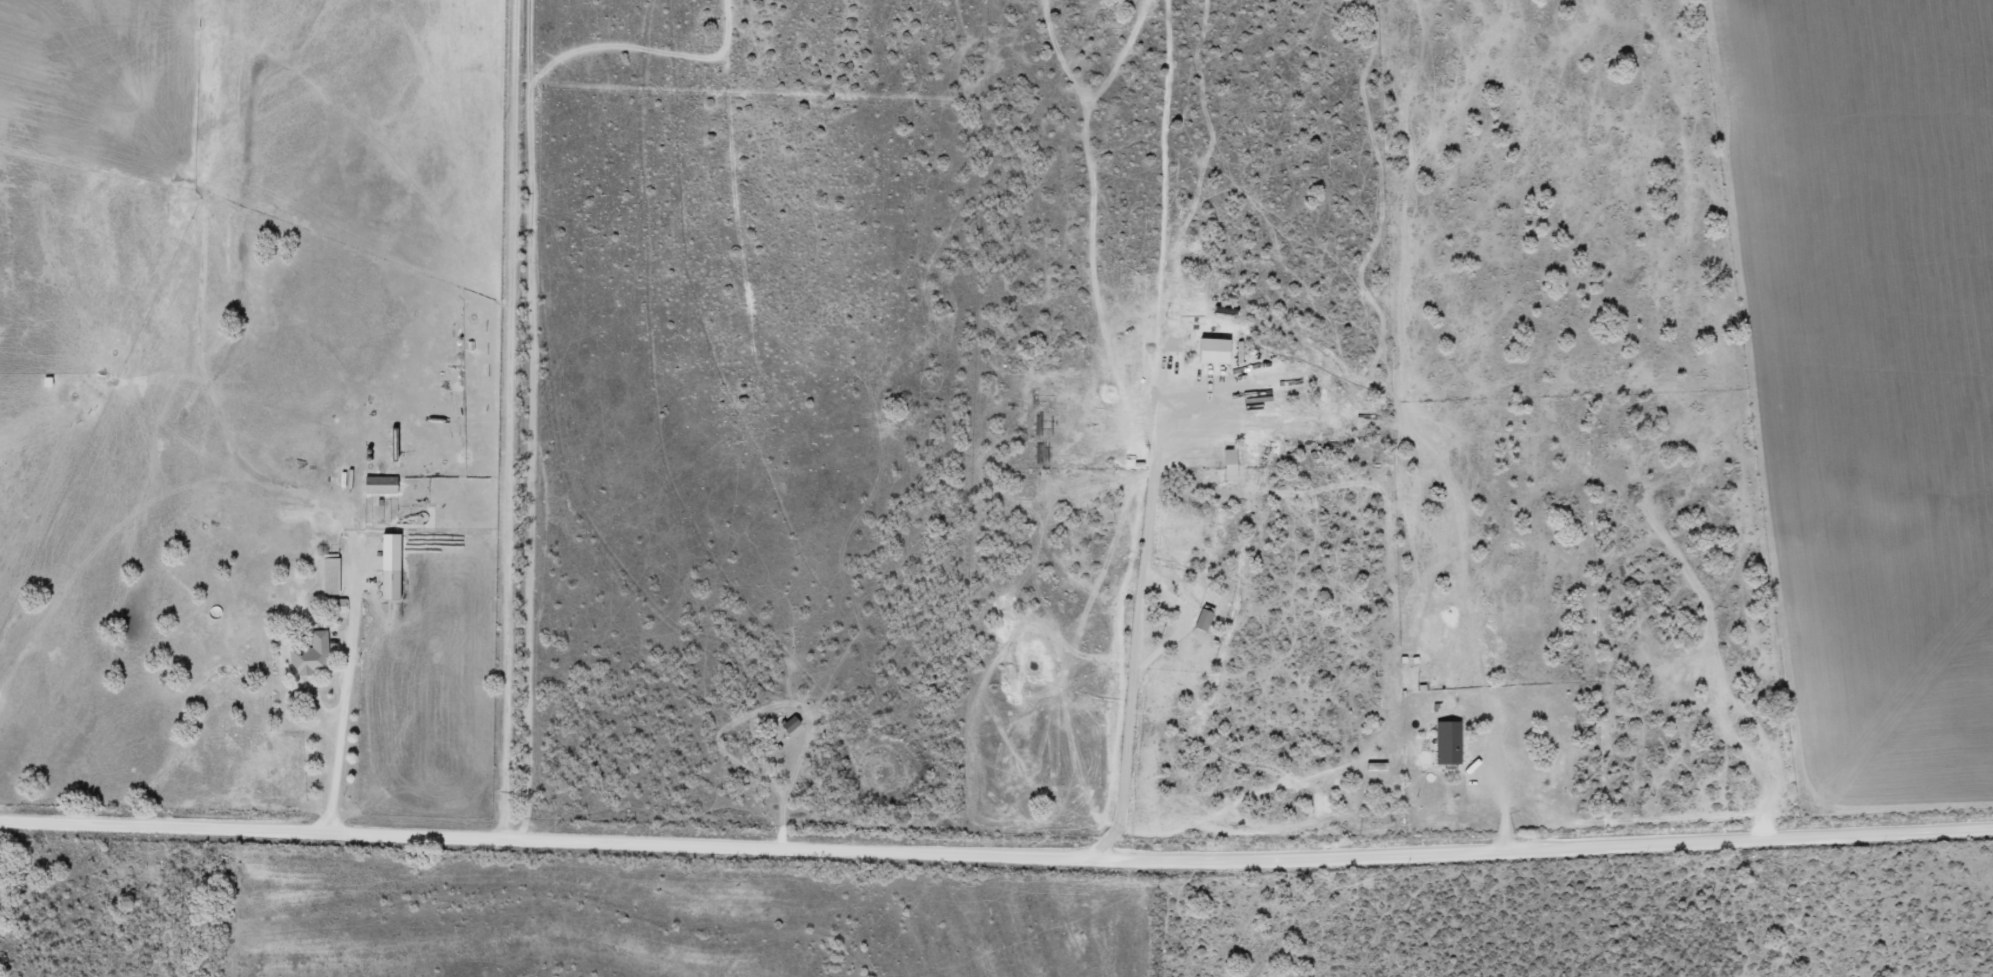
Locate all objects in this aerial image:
road: (522, 419)
building: (332, 574)
building: (393, 585)
building: (313, 655)
road: (344, 686)
building: (793, 724)
building: (1450, 743)
road: (1494, 794)
road: (996, 856)

